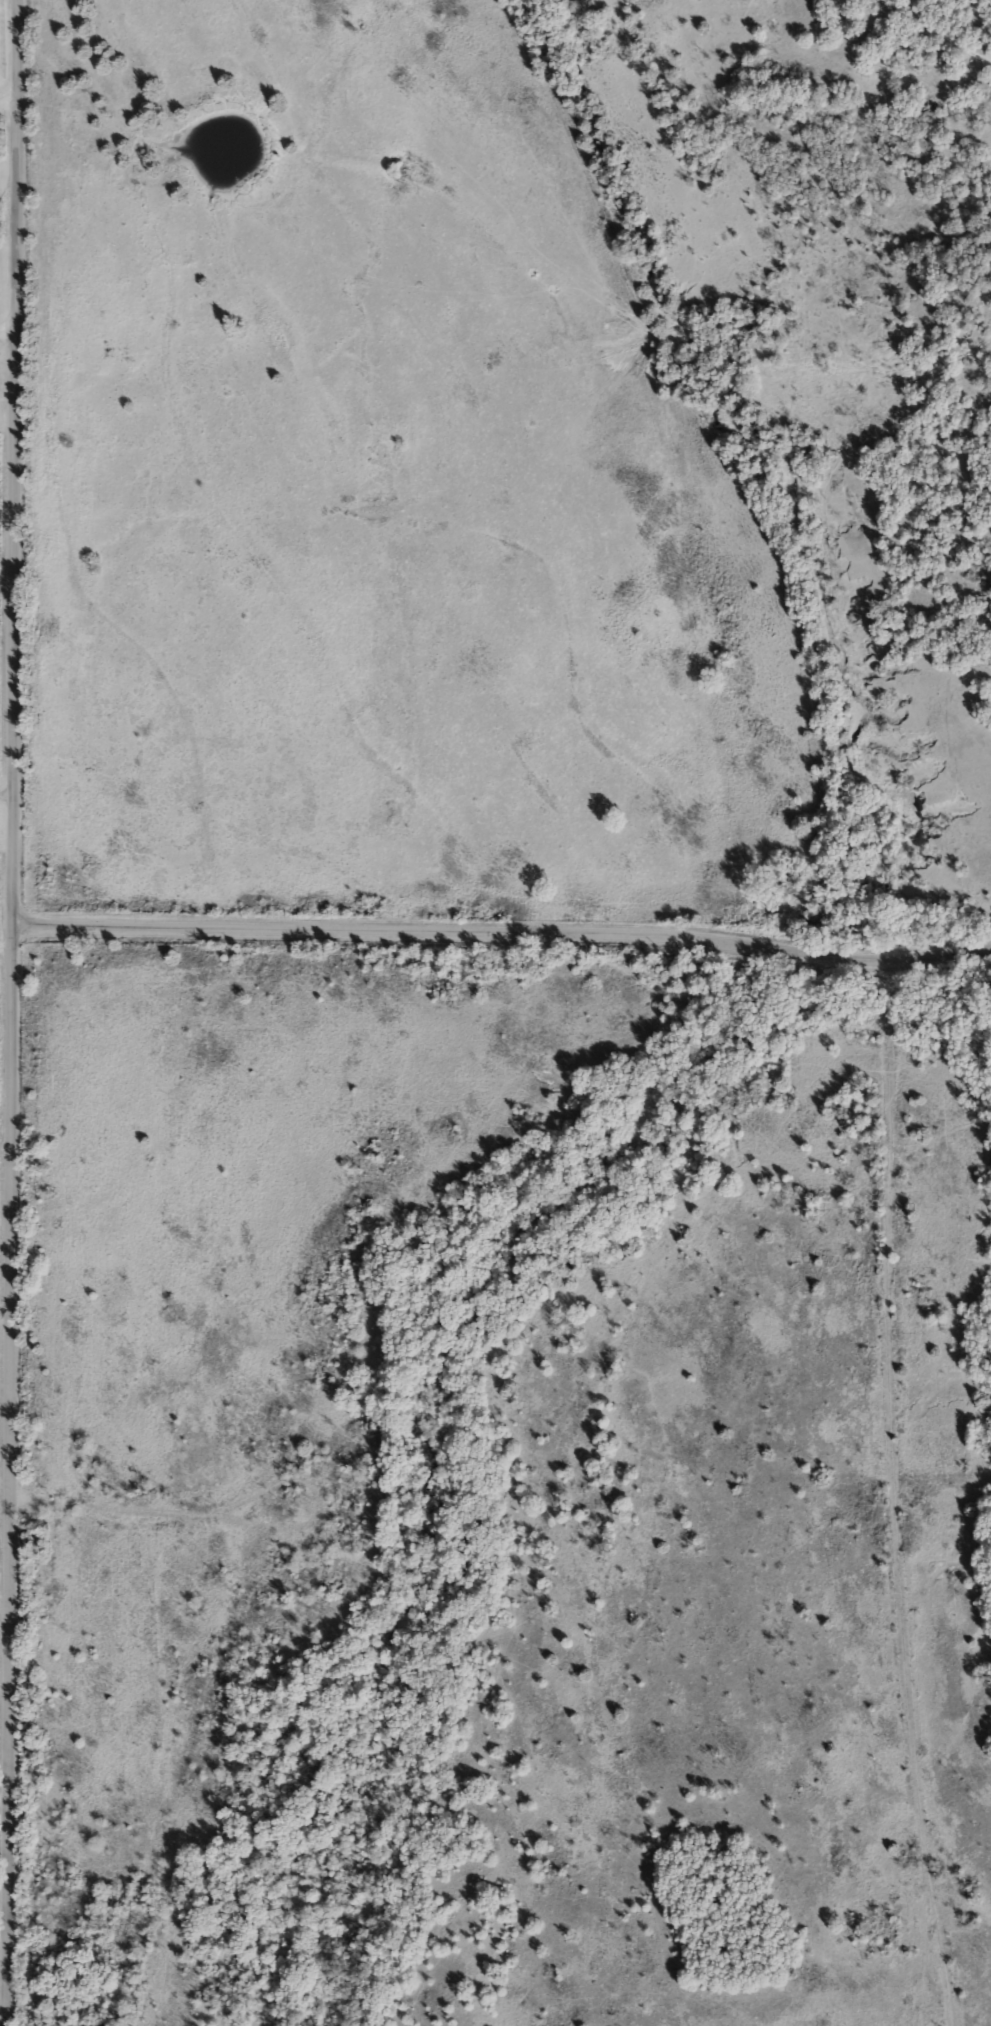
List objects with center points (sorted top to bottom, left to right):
road: (8, 89)
road: (502, 936)
road: (10, 1013)
road: (895, 1495)

